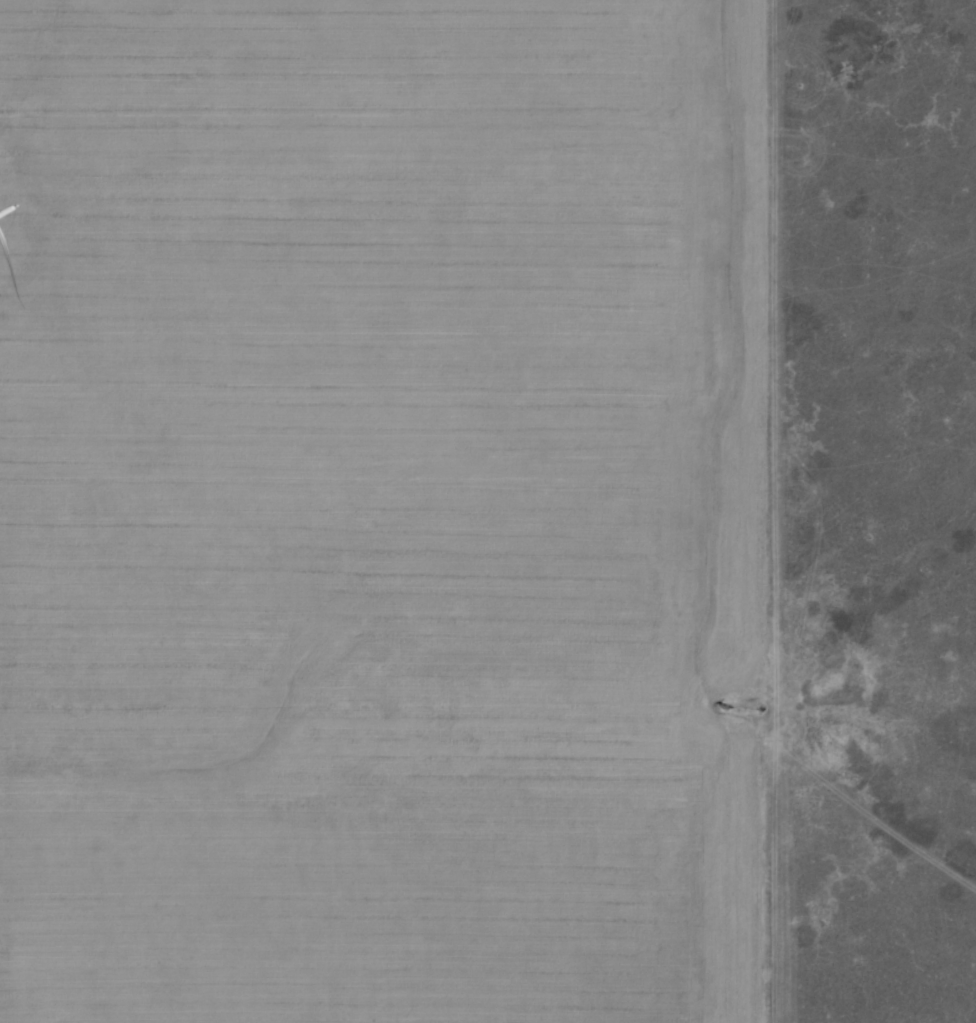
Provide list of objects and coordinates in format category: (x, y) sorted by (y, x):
road: (815, 741)

